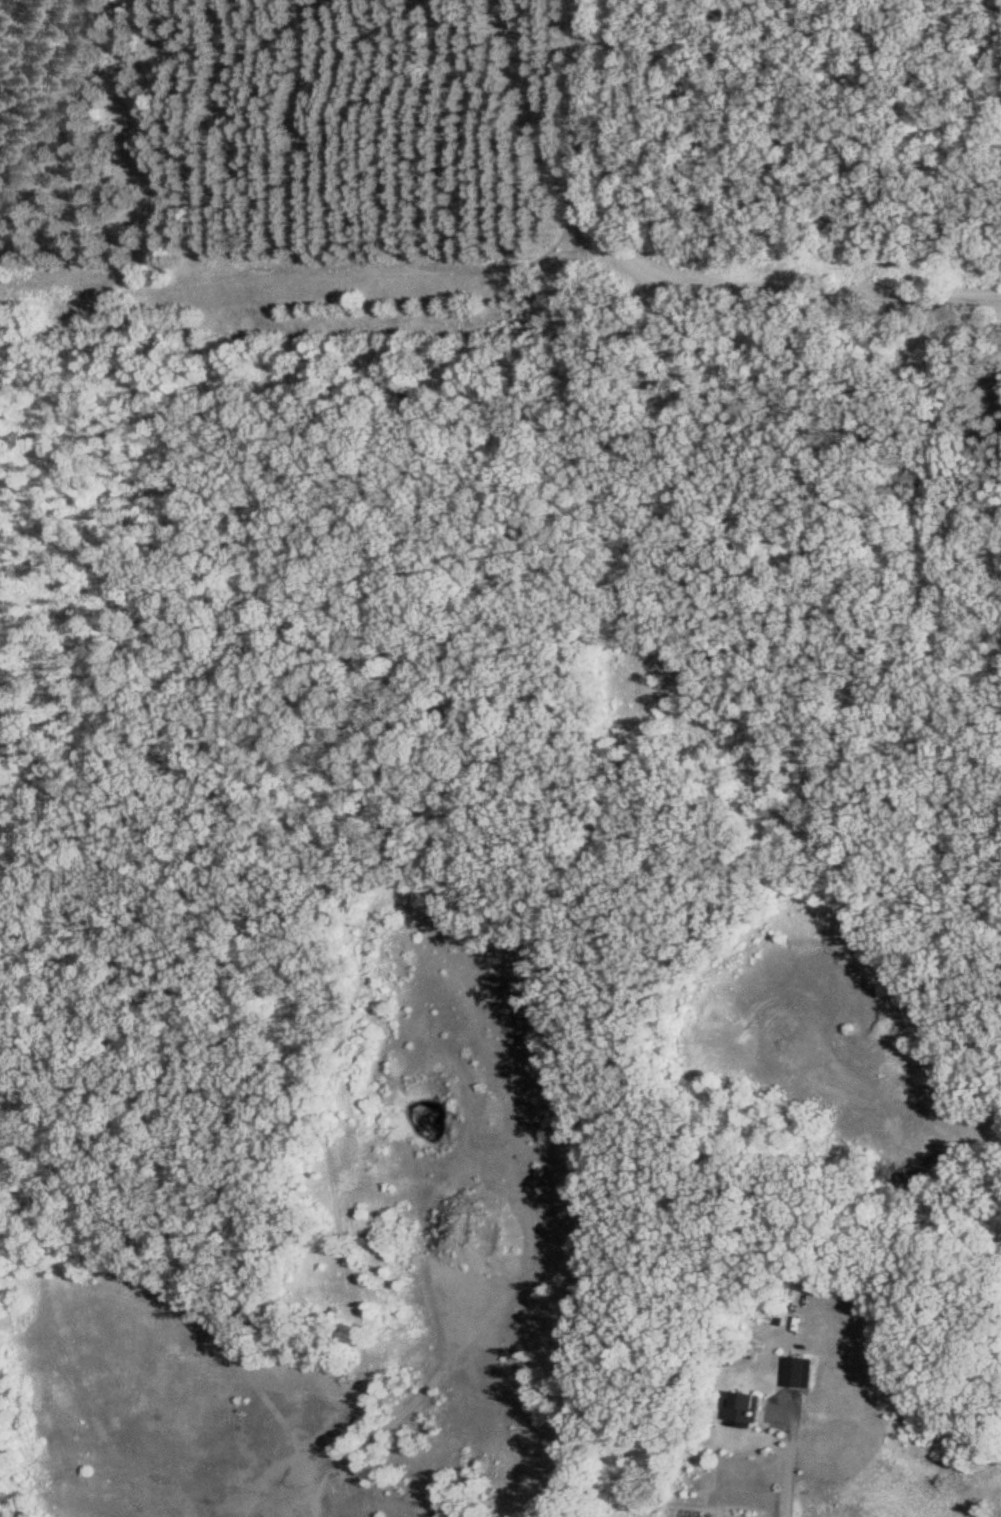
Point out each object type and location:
road: (681, 281)
building: (798, 1370)
building: (751, 1405)

